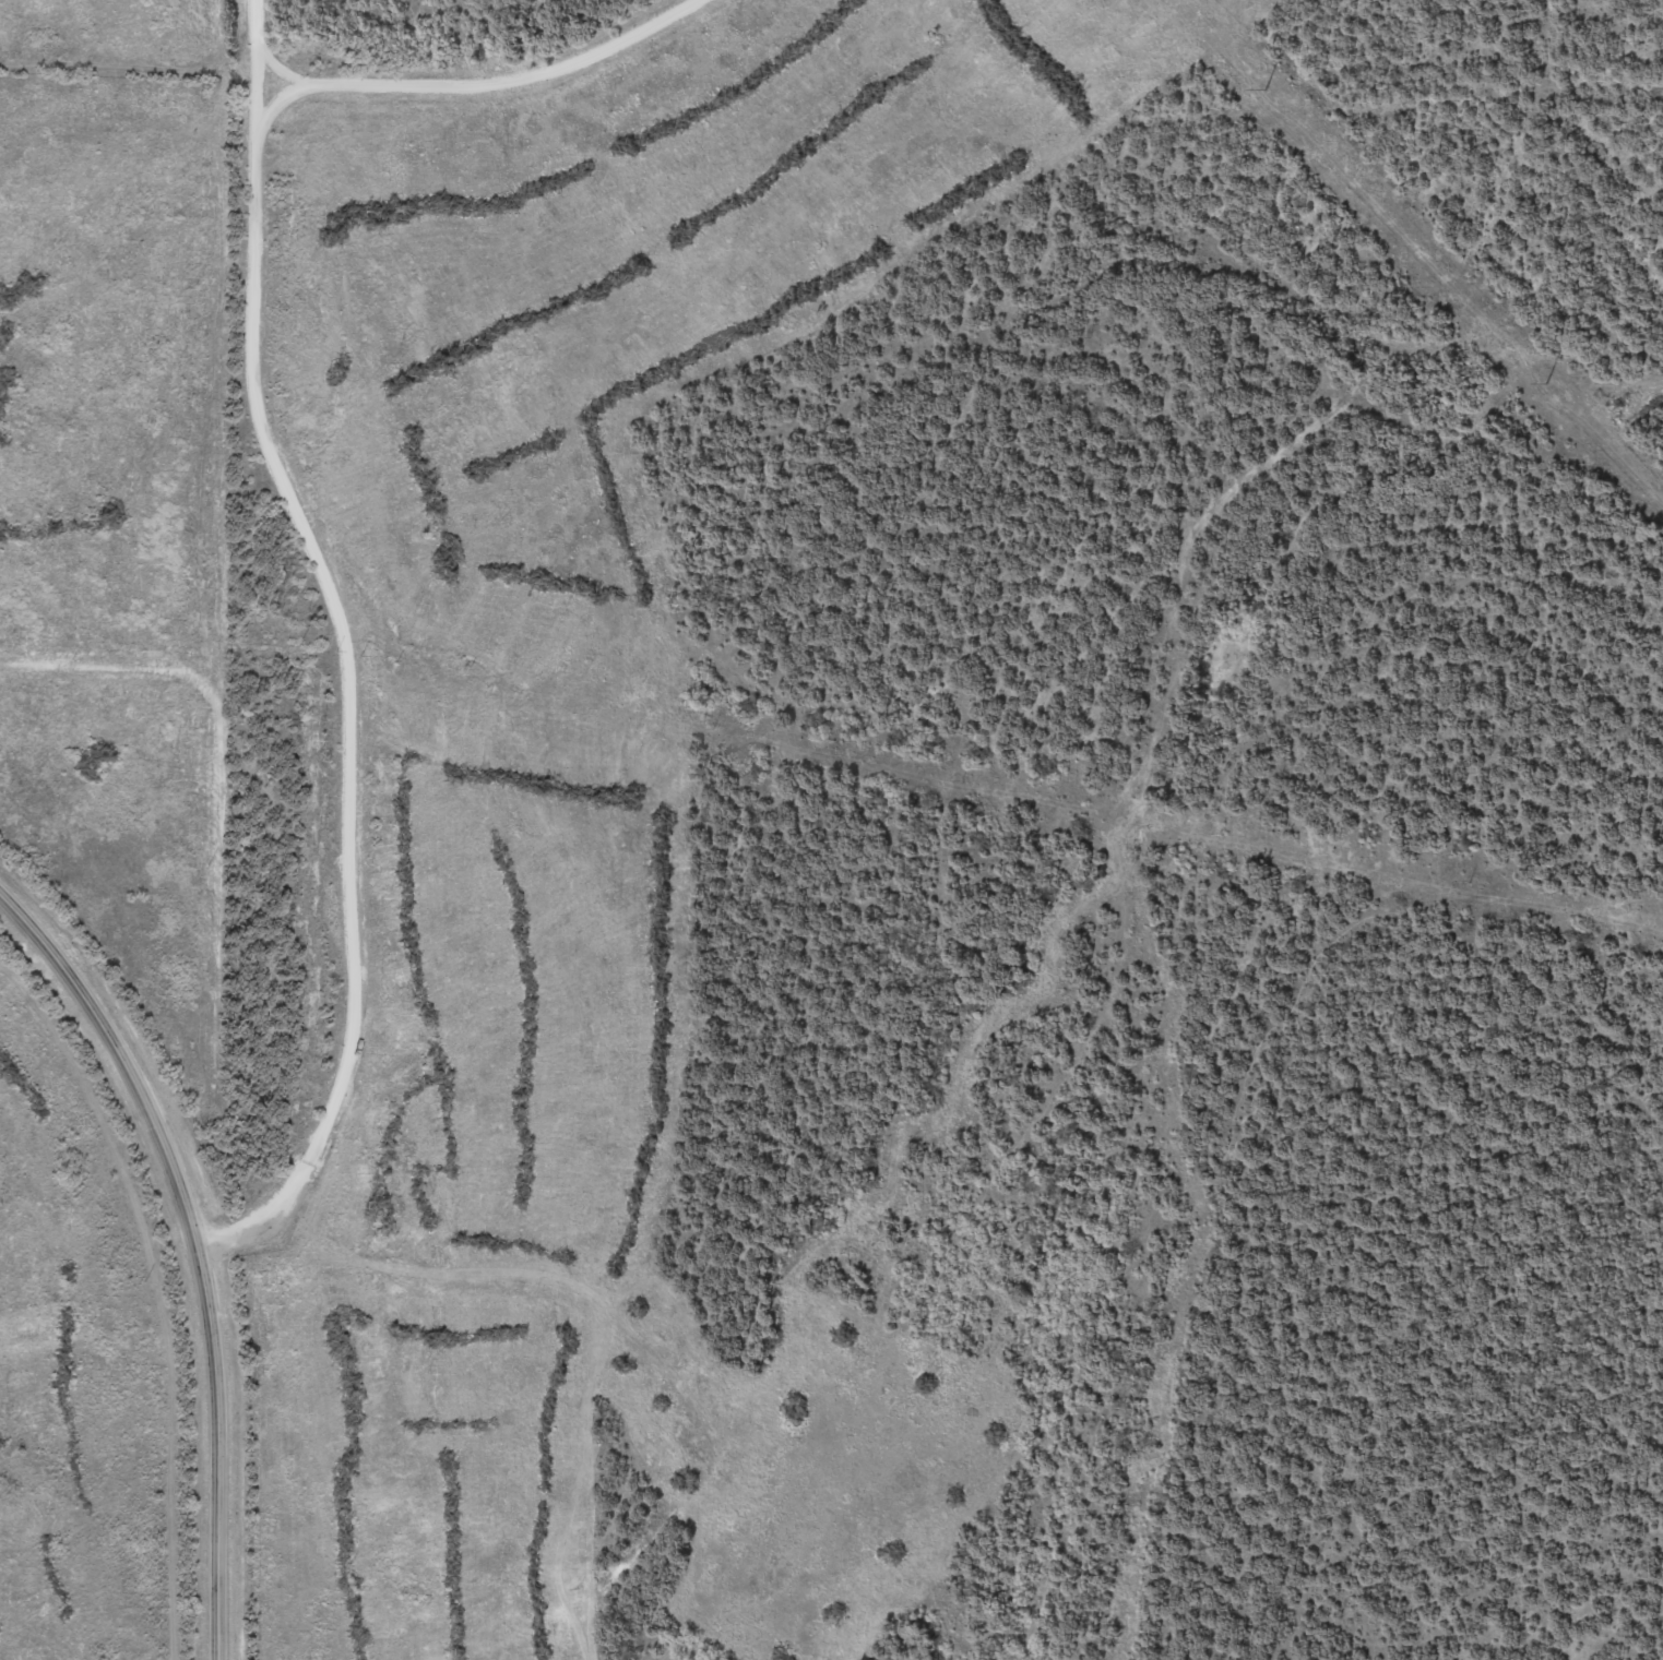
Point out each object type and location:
power tower: (1264, 87)
power tower: (1545, 382)
road: (347, 647)
road: (205, 1245)

